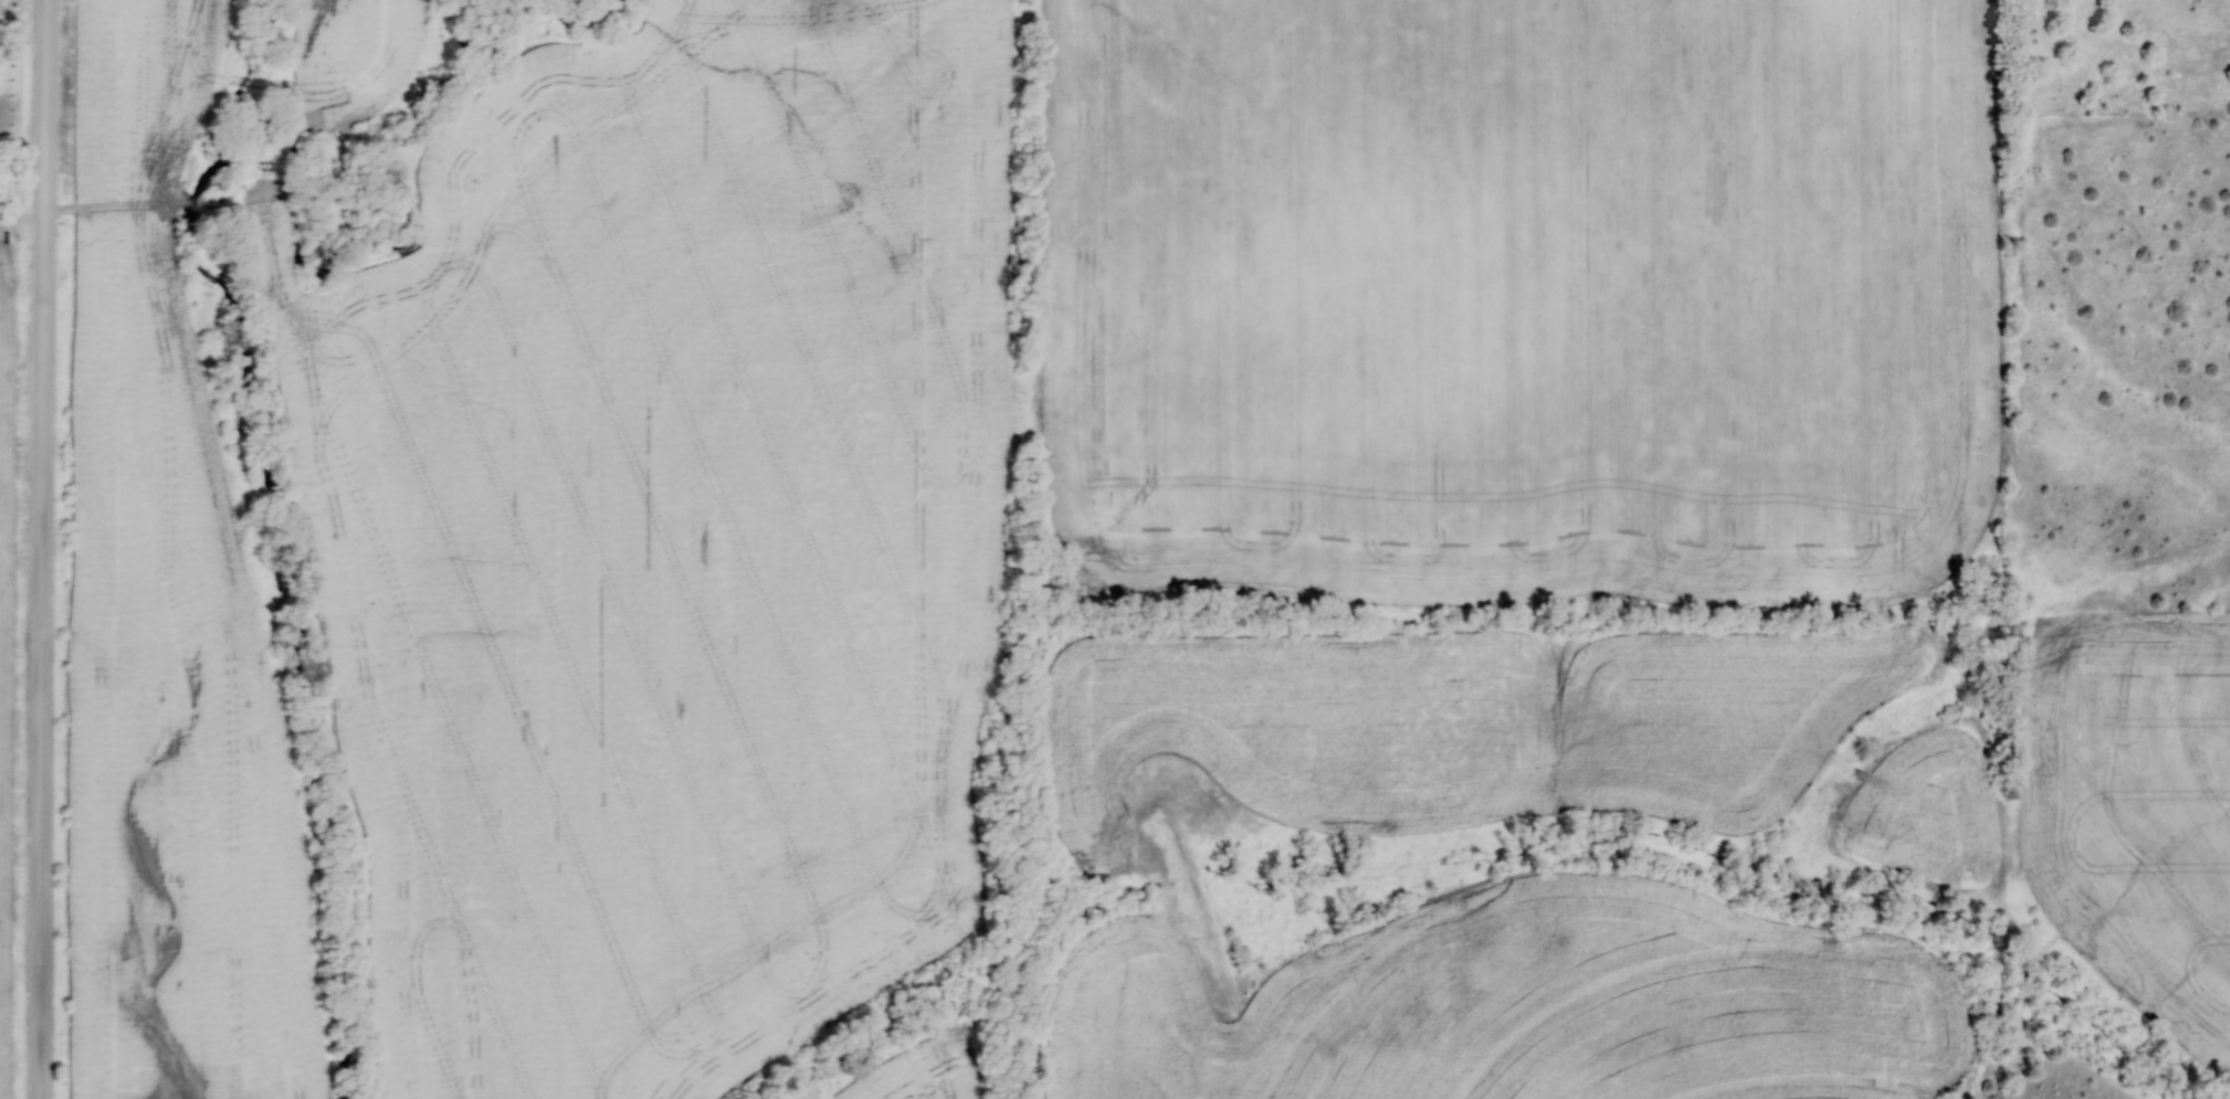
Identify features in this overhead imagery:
road: (42, 549)

